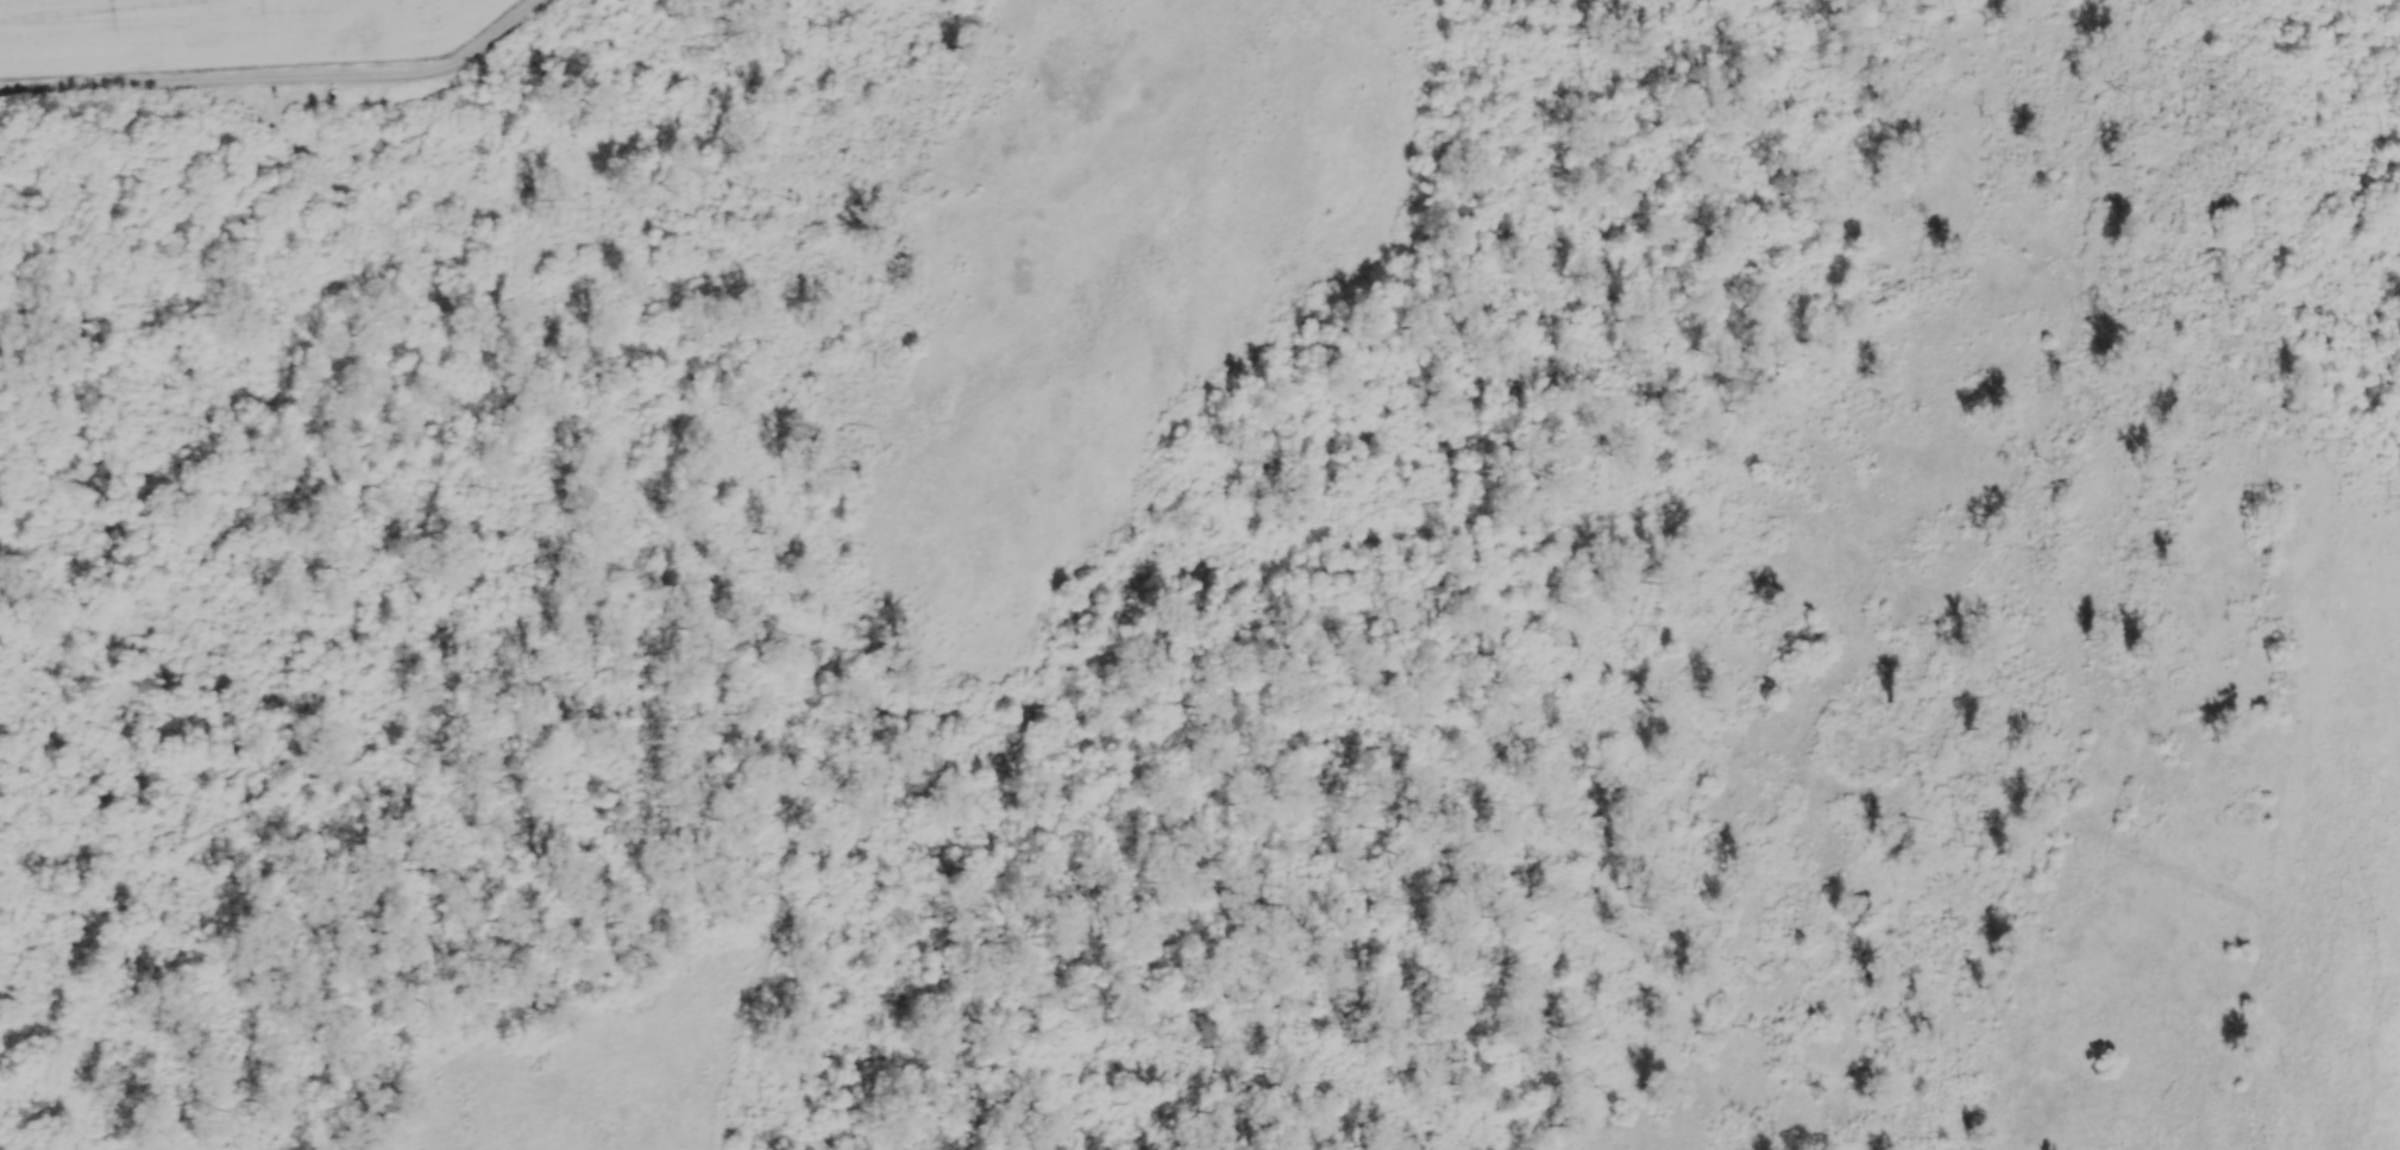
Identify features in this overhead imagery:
crop: (205, 24)
road: (416, 73)
road: (136, 82)
road: (579, 440)

